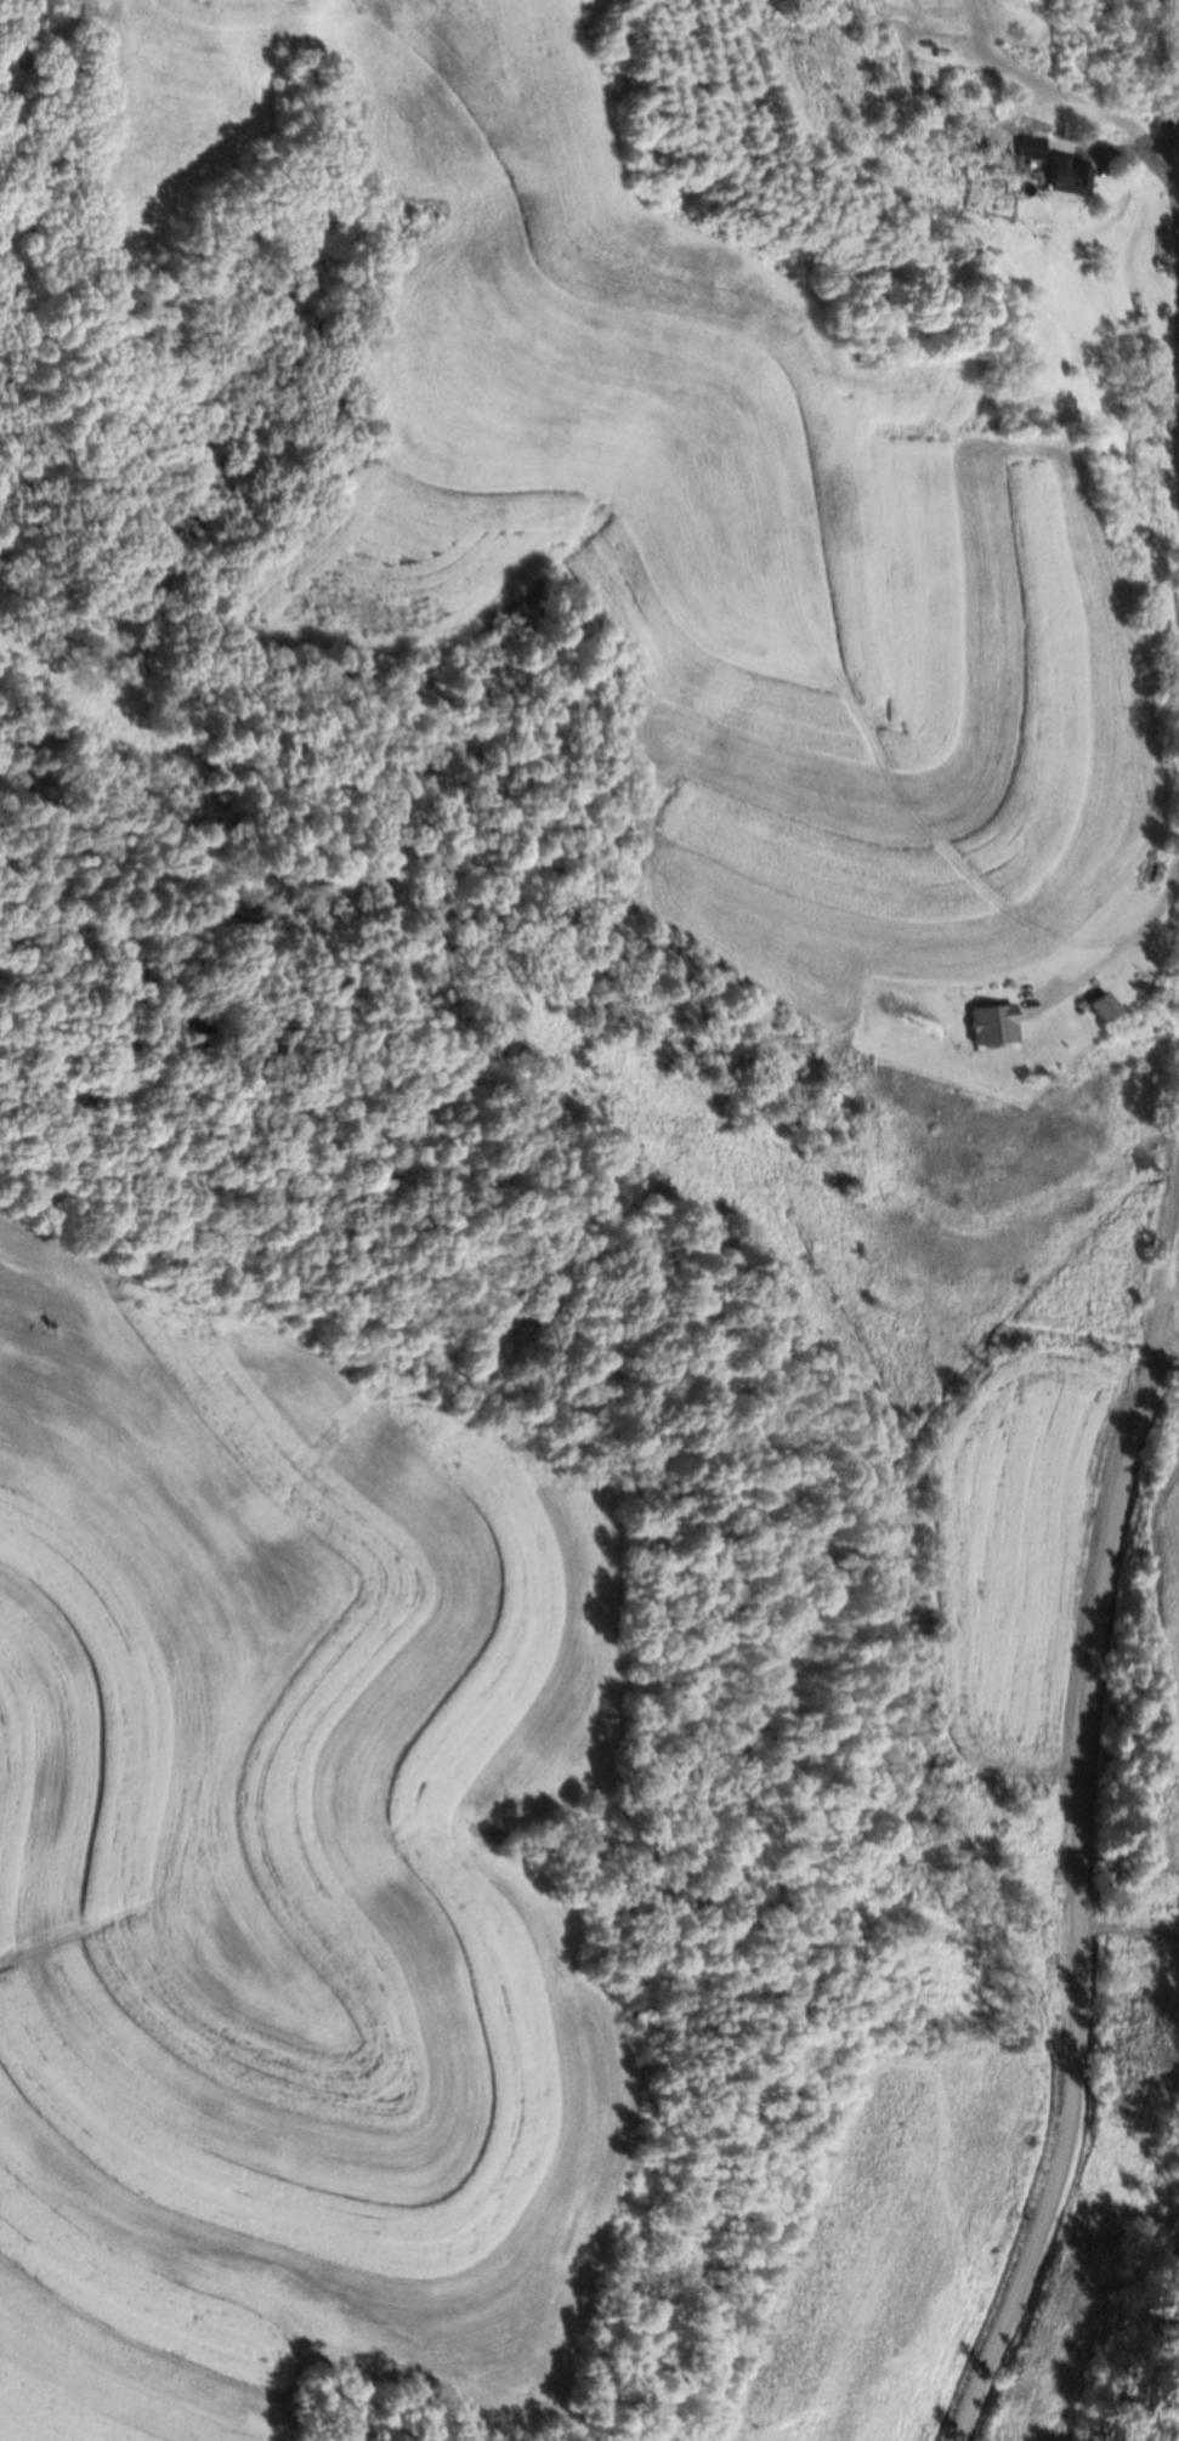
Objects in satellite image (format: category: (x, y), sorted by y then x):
building: (982, 148)
building: (1064, 175)
road: (1169, 178)
building: (1095, 1006)
building: (990, 1024)
road: (1166, 1352)
road: (1081, 1800)

